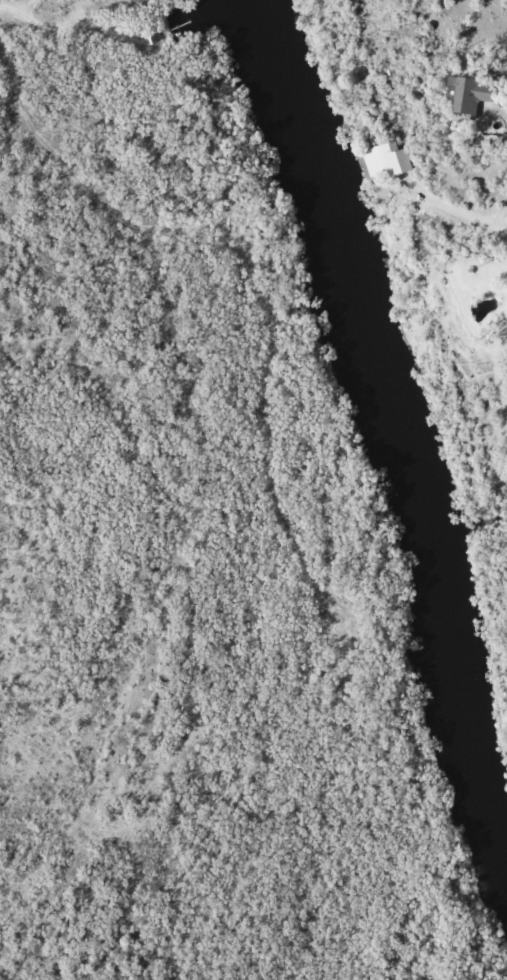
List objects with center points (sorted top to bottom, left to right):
building: (463, 98)
building: (383, 161)
river: (340, 241)
river: (451, 665)

